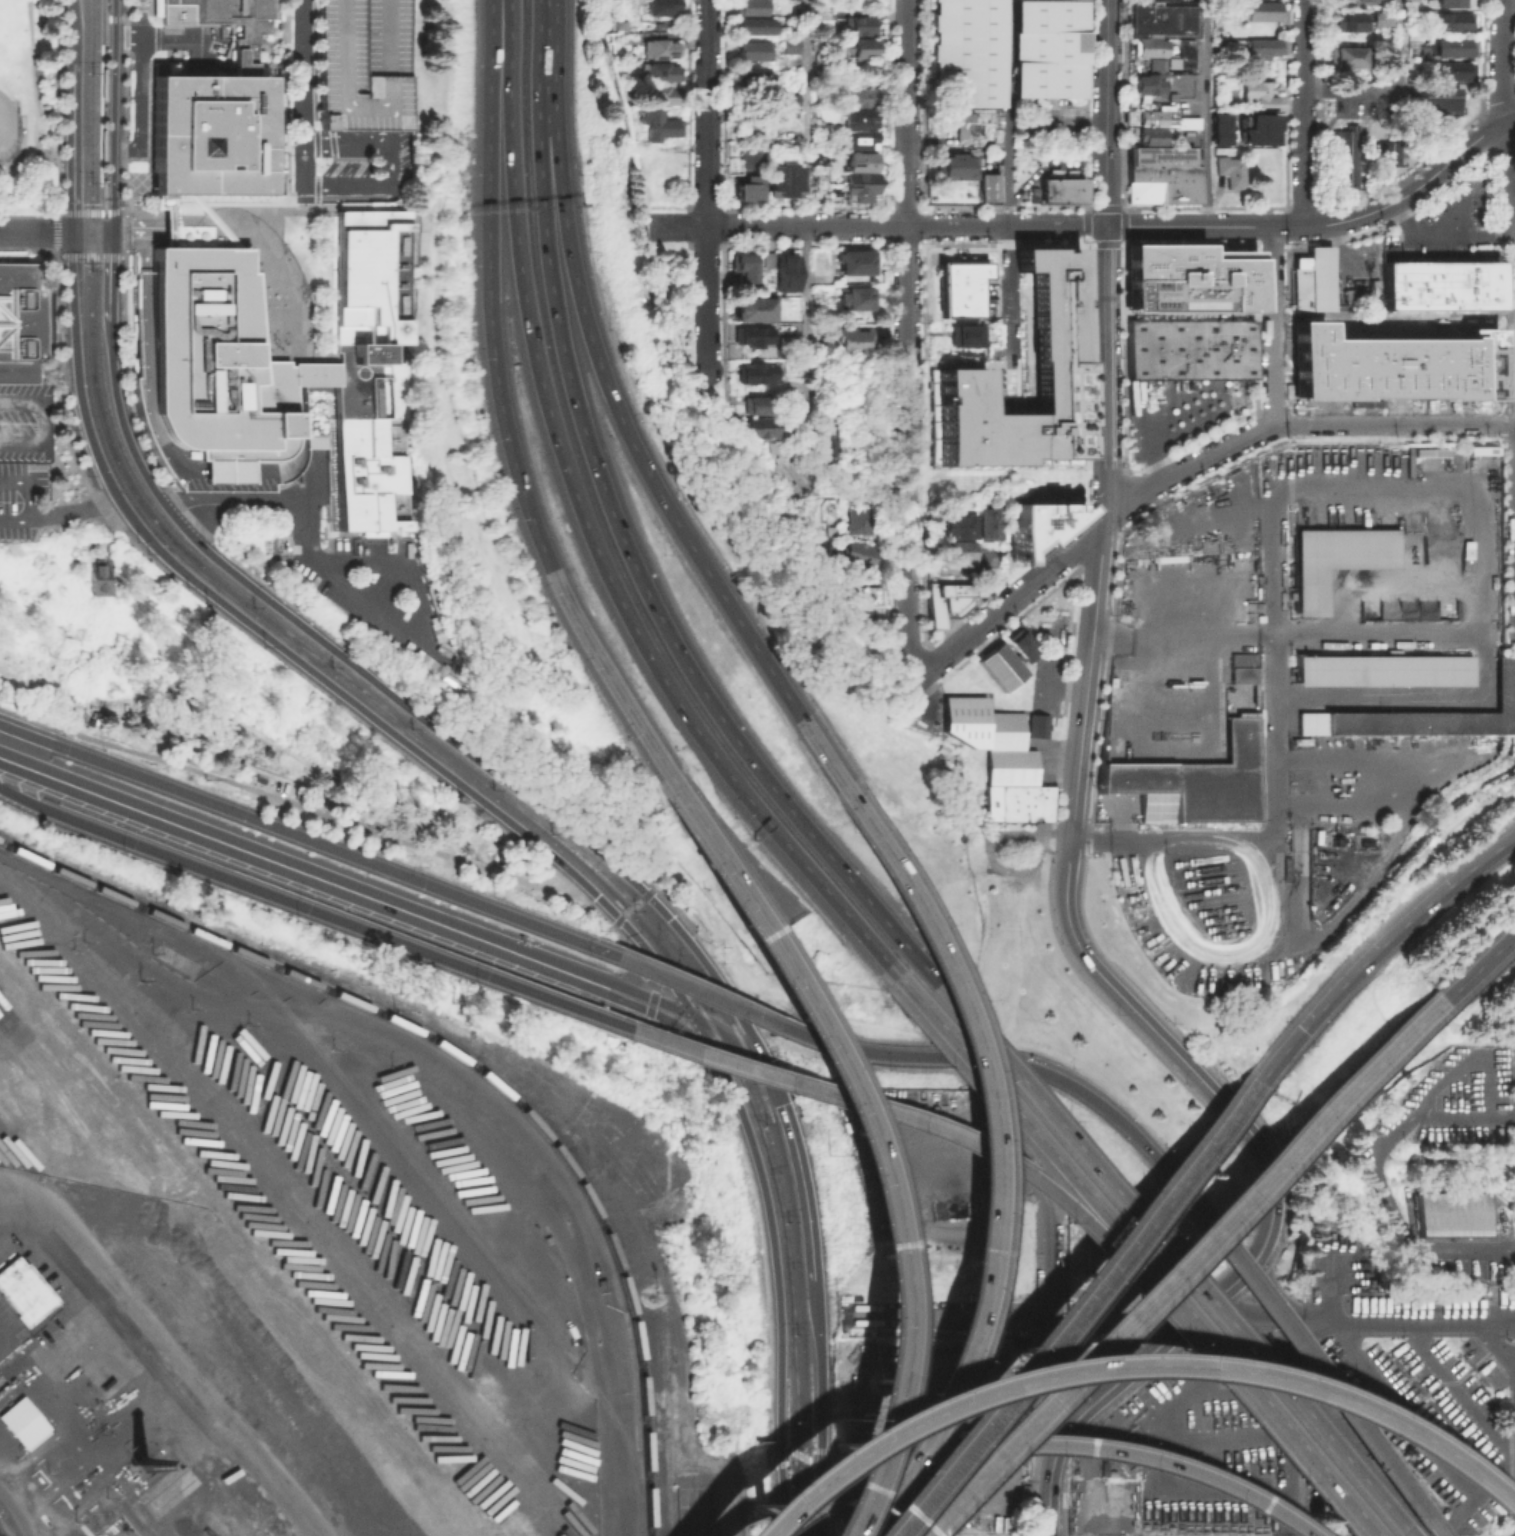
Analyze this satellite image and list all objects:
building: (1159, 0)
building: (1367, 0)
building: (1450, 2)
building: (750, 4)
building: (661, 6)
building: (1259, 9)
road: (607, 15)
road: (115, 17)
building: (1381, 17)
building: (1159, 18)
building: (1349, 19)
building: (1449, 19)
building: (753, 23)
building: (857, 23)
building: (232, 25)
road: (73, 31)
road: (157, 38)
building: (789, 41)
railway: (109, 43)
building: (1451, 43)
building: (1260, 45)
building: (1149, 46)
building: (658, 47)
building: (858, 47)
road: (543, 48)
building: (754, 48)
building: (1047, 48)
building: (1186, 51)
building: (965, 52)
building: (1345, 54)
building: (823, 56)
road: (1503, 61)
building: (362, 63)
parking lot: (362, 63)
building: (1156, 64)
building: (659, 69)
building: (1452, 69)
road: (288, 71)
building: (751, 75)
road: (511, 80)
building: (1149, 83)
road: (1398, 89)
park: (6, 91)
building: (661, 93)
building: (1262, 93)
road: (305, 94)
building: (863, 94)
building: (1181, 95)
building: (789, 96)
building: (813, 97)
building: (1440, 101)
road: (139, 102)
road: (106, 105)
park: (29, 106)
road: (33, 108)
road: (1304, 112)
road: (707, 113)
road: (907, 113)
road: (1108, 113)
road: (1208, 113)
road: (115, 116)
building: (1160, 117)
building: (861, 120)
road: (1053, 121)
building: (1224, 121)
building: (1265, 122)
building: (977, 125)
building: (661, 127)
building: (755, 130)
parking lot: (1048, 130)
building: (213, 134)
building: (1152, 134)
road: (296, 137)
building: (1224, 137)
building: (1260, 137)
building: (863, 141)
road: (347, 144)
road: (74, 146)
building: (1388, 153)
building: (756, 156)
building: (1346, 157)
road: (1453, 160)
building: (861, 163)
building: (957, 164)
road: (287, 174)
building: (1162, 174)
building: (1235, 174)
road: (316, 175)
road: (1006, 176)
building: (781, 180)
road: (1509, 180)
road: (132, 182)
road: (24, 184)
building: (863, 184)
building: (745, 186)
building: (987, 186)
road: (365, 188)
building: (1061, 189)
road: (298, 207)
road: (1458, 207)
road: (210, 213)
building: (214, 220)
parking lot: (1443, 225)
road: (776, 226)
road: (1007, 226)
road: (1251, 227)
road: (56, 231)
traffic signals: (73, 231)
road: (1446, 231)
traffic signals: (113, 232)
road: (137, 232)
road: (567, 232)
road: (548, 237)
road: (807, 242)
road: (59, 255)
building: (767, 258)
building: (858, 264)
building: (746, 269)
road: (110, 274)
building: (790, 275)
building: (1190, 276)
building: (1313, 279)
building: (962, 288)
building: (1442, 288)
building: (859, 300)
road: (707, 301)
building: (757, 310)
building: (1053, 315)
building: (143, 321)
building: (20, 323)
road: (1274, 326)
building: (761, 337)
building: (965, 337)
building: (852, 341)
building: (1190, 347)
road: (327, 355)
road: (303, 358)
building: (208, 361)
building: (1392, 365)
building: (371, 375)
building: (759, 375)
road: (1106, 376)
road: (129, 388)
road: (503, 404)
building: (759, 406)
building: (792, 407)
building: (299, 409)
road: (1180, 417)
road: (45, 422)
road: (123, 423)
road: (1394, 423)
building: (763, 429)
building: (825, 431)
road: (1144, 433)
building: (316, 440)
building: (822, 443)
building: (767, 448)
building: (1482, 449)
road: (907, 451)
building: (1429, 451)
road: (1185, 469)
building: (221, 471)
road: (29, 483)
road: (857, 485)
road: (236, 501)
road: (74, 510)
road: (15, 520)
building: (855, 521)
building: (990, 523)
building: (1037, 524)
building: (958, 529)
road: (692, 545)
building: (825, 549)
building: (956, 551)
building: (860, 557)
building: (1338, 562)
building: (102, 579)
building: (868, 595)
road: (1011, 598)
building: (951, 601)
road: (622, 604)
building: (434, 605)
road: (383, 611)
building: (385, 634)
road: (1288, 635)
building: (1015, 644)
building: (416, 656)
road: (303, 664)
building: (999, 666)
building: (1245, 670)
building: (1386, 672)
road: (712, 703)
road: (1274, 704)
road: (410, 706)
building: (1425, 713)
building: (964, 718)
building: (1036, 725)
building: (1003, 729)
railway: (456, 755)
railway: (440, 756)
building: (1009, 766)
building: (1194, 781)
road: (289, 802)
building: (1017, 802)
road: (308, 840)
road: (1173, 840)
road: (721, 845)
road: (301, 871)
railway: (78, 878)
road: (38, 883)
railway: (78, 885)
road: (653, 890)
road: (313, 909)
road: (597, 911)
road: (631, 911)
road: (680, 911)
road: (1378, 950)
road: (1083, 953)
road: (636, 956)
road: (224, 959)
road: (1478, 966)
road: (725, 991)
road: (185, 992)
road: (700, 992)
road: (648, 995)
road: (625, 998)
road: (650, 1005)
traffic signals: (692, 1014)
traffic signals: (1305, 1028)
road: (666, 1031)
road: (689, 1033)
road: (706, 1040)
road: (745, 1048)
road: (710, 1063)
road: (1039, 1070)
traffic signals: (781, 1102)
road: (894, 1113)
road: (1013, 1114)
road: (983, 1121)
railway: (537, 1124)
road: (858, 1137)
road: (1194, 1156)
road: (1373, 1177)
road: (290, 1201)
railway: (447, 1204)
road: (577, 1212)
building: (1453, 1217)
road: (808, 1219)
road: (1168, 1260)
road: (774, 1261)
road: (1168, 1264)
road: (1085, 1283)
building: (23, 1290)
road: (1275, 1291)
road: (1044, 1317)
road: (1265, 1317)
road: (1417, 1324)
road: (1047, 1335)
road: (5, 1336)
road: (1496, 1344)
road: (158, 1347)
road: (1116, 1364)
road: (1112, 1387)
road: (1326, 1393)
road: (822, 1394)
road: (1248, 1395)
building: (21, 1420)
road: (1287, 1422)
road: (954, 1435)
road: (1026, 1443)
road: (801, 1456)
road: (819, 1492)
road: (781, 1500)
railway: (0, 1510)
road: (17, 1511)
railway: (133, 1517)
road: (1049, 1520)
railway: (2, 1533)

